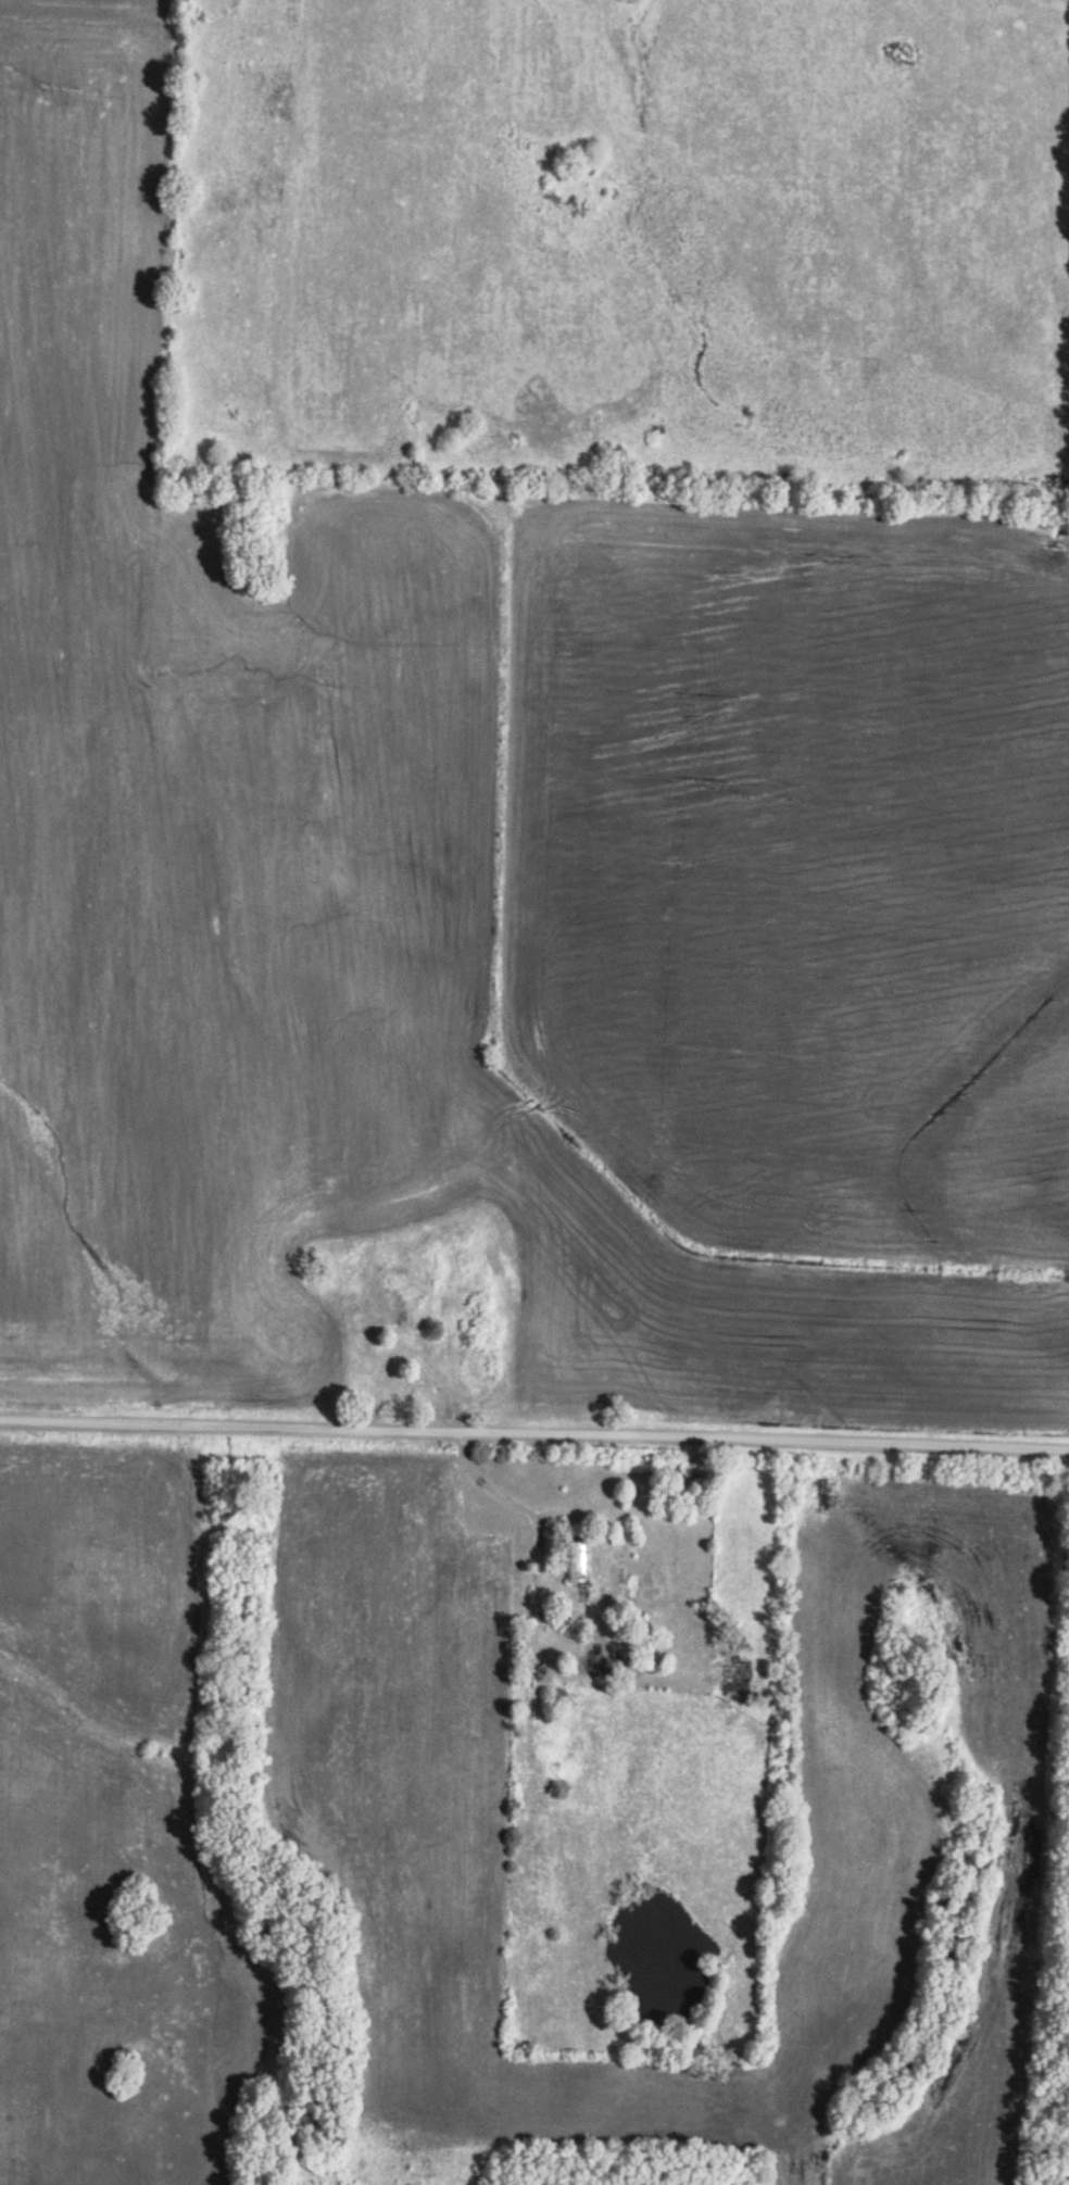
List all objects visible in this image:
building: (385, 1299)
road: (534, 1434)
road: (499, 1492)
building: (573, 1561)
building: (733, 1679)

